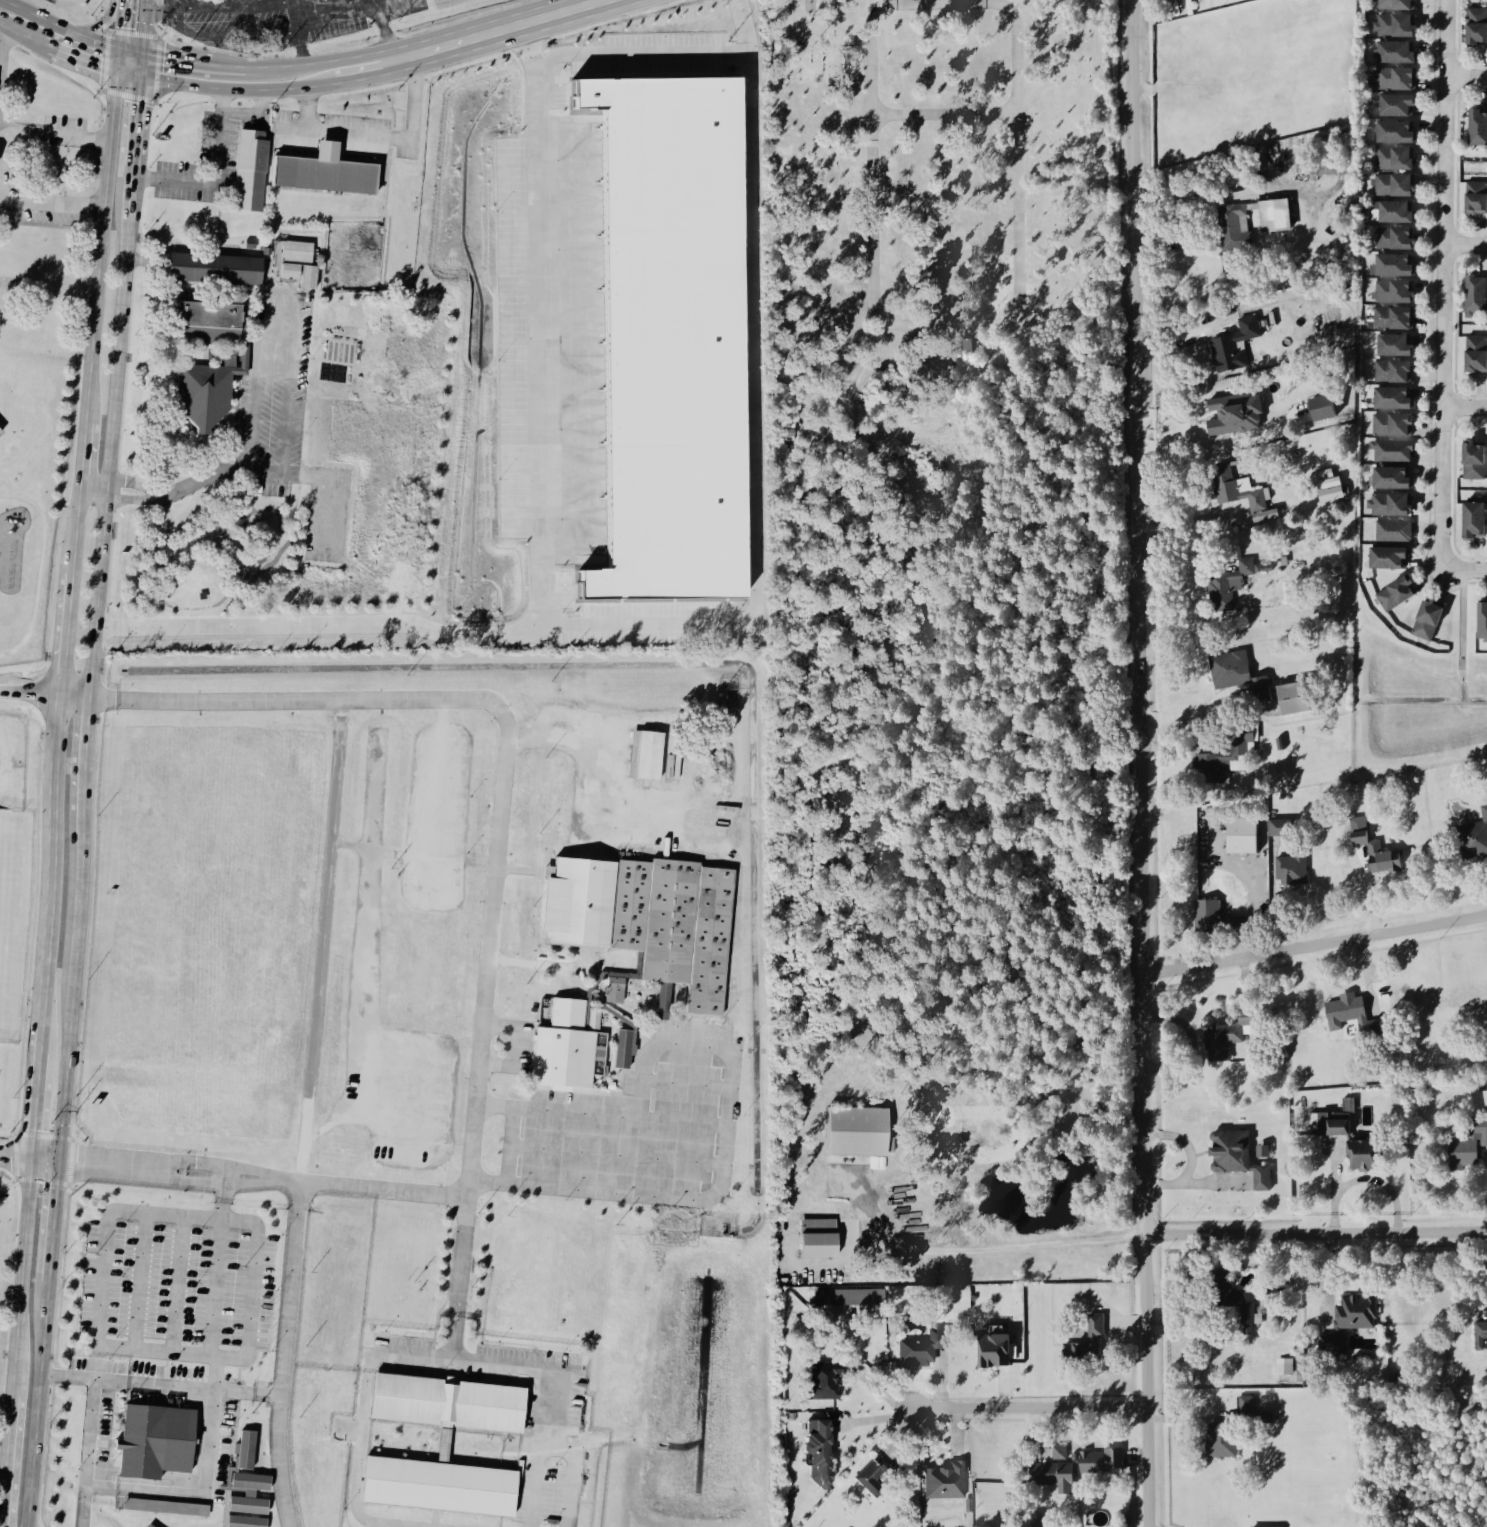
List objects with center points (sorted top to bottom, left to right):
road: (124, 1)
road: (931, 1)
road: (387, 3)
building: (1394, 5)
road: (171, 6)
road: (344, 10)
road: (178, 20)
road: (103, 24)
road: (59, 25)
road: (121, 25)
road: (144, 26)
building: (1393, 27)
building: (1475, 29)
road: (498, 30)
road: (23, 32)
road: (386, 33)
road: (302, 46)
road: (130, 50)
road: (257, 52)
building: (1393, 54)
road: (642, 55)
road: (82, 58)
road: (3, 59)
road: (118, 59)
road: (192, 62)
road: (318, 62)
road: (141, 64)
traffic signals: (117, 70)
road: (365, 71)
road: (128, 73)
traffic signals: (140, 76)
road: (1467, 78)
building: (1393, 81)
road: (238, 88)
building: (1395, 107)
road: (944, 114)
road: (135, 126)
building: (1477, 129)
building: (1392, 134)
road: (54, 135)
road: (378, 138)
building: (1392, 160)
building: (250, 170)
building: (324, 171)
building: (1327, 171)
road: (214, 177)
park: (938, 181)
building: (1391, 187)
building: (1475, 200)
road: (50, 202)
building: (1393, 214)
building: (1272, 217)
building: (1233, 229)
road: (102, 239)
building: (1391, 240)
building: (249, 244)
road: (1467, 245)
building: (265, 252)
building: (297, 252)
building: (1391, 267)
building: (214, 268)
building: (289, 271)
building: (308, 278)
road: (1446, 284)
building: (1392, 294)
building: (1474, 297)
road: (278, 299)
building: (1391, 320)
road: (936, 322)
building: (669, 338)
building: (1391, 347)
building: (1232, 348)
building: (1475, 355)
building: (1391, 373)
road: (288, 388)
building: (203, 394)
building: (1391, 400)
road: (1466, 408)
building: (1323, 410)
building: (1238, 416)
building: (1390, 426)
building: (0, 431)
road: (111, 437)
road: (241, 446)
road: (84, 448)
building: (1392, 453)
building: (1472, 462)
road: (248, 477)
building: (1390, 480)
road: (94, 487)
building: (1328, 488)
building: (1234, 491)
building: (1388, 506)
building: (1471, 523)
road: (77, 525)
building: (1392, 532)
building: (1386, 560)
road: (40, 568)
road: (1464, 569)
building: (1227, 587)
building: (1393, 596)
building: (1426, 622)
building: (1481, 623)
road: (318, 626)
road: (654, 626)
road: (68, 630)
building: (1223, 672)
building: (1259, 690)
road: (29, 693)
road: (74, 696)
road: (358, 699)
building: (1291, 700)
building: (642, 753)
road: (1140, 763)
building: (1238, 765)
road: (87, 766)
building: (1209, 769)
building: (1281, 829)
building: (1242, 836)
building: (1474, 840)
building: (1372, 850)
road: (52, 859)
building: (1292, 869)
park: (5, 882)
building: (641, 915)
building: (1206, 918)
road: (1315, 945)
road: (515, 962)
building: (613, 992)
road: (74, 998)
building: (1352, 1018)
building: (1232, 1036)
building: (563, 1046)
building: (622, 1049)
road: (38, 1091)
building: (1485, 1101)
road: (513, 1107)
road: (305, 1113)
road: (723, 1128)
building: (1336, 1129)
building: (855, 1131)
building: (1467, 1145)
road: (16, 1157)
building: (1359, 1157)
traffic signals: (33, 1159)
building: (1236, 1159)
road: (46, 1160)
traffic signals: (60, 1161)
road: (468, 1163)
road: (224, 1197)
road: (145, 1212)
road: (54, 1227)
road: (1316, 1233)
building: (818, 1246)
road: (1002, 1246)
road: (23, 1277)
road: (460, 1278)
road: (141, 1281)
road: (179, 1284)
road: (216, 1287)
building: (1274, 1294)
building: (847, 1298)
building: (1231, 1299)
building: (1355, 1314)
building: (1480, 1336)
building: (1083, 1345)
building: (920, 1349)
building: (993, 1352)
road: (460, 1357)
road: (96, 1362)
building: (1283, 1368)
road: (215, 1372)
building: (824, 1381)
road: (160, 1384)
building: (443, 1401)
road: (1031, 1407)
road: (38, 1409)
building: (1245, 1410)
building: (156, 1440)
building: (1220, 1442)
building: (442, 1447)
building: (244, 1452)
road: (89, 1453)
building: (817, 1453)
building: (1057, 1454)
road: (7, 1460)
building: (1098, 1463)
road: (144, 1472)
building: (1051, 1475)
building: (872, 1480)
building: (432, 1483)
building: (943, 1483)
road: (198, 1494)
building: (247, 1495)
building: (166, 1507)
road: (1, 1510)
building: (245, 1522)
building: (149, 1526)

